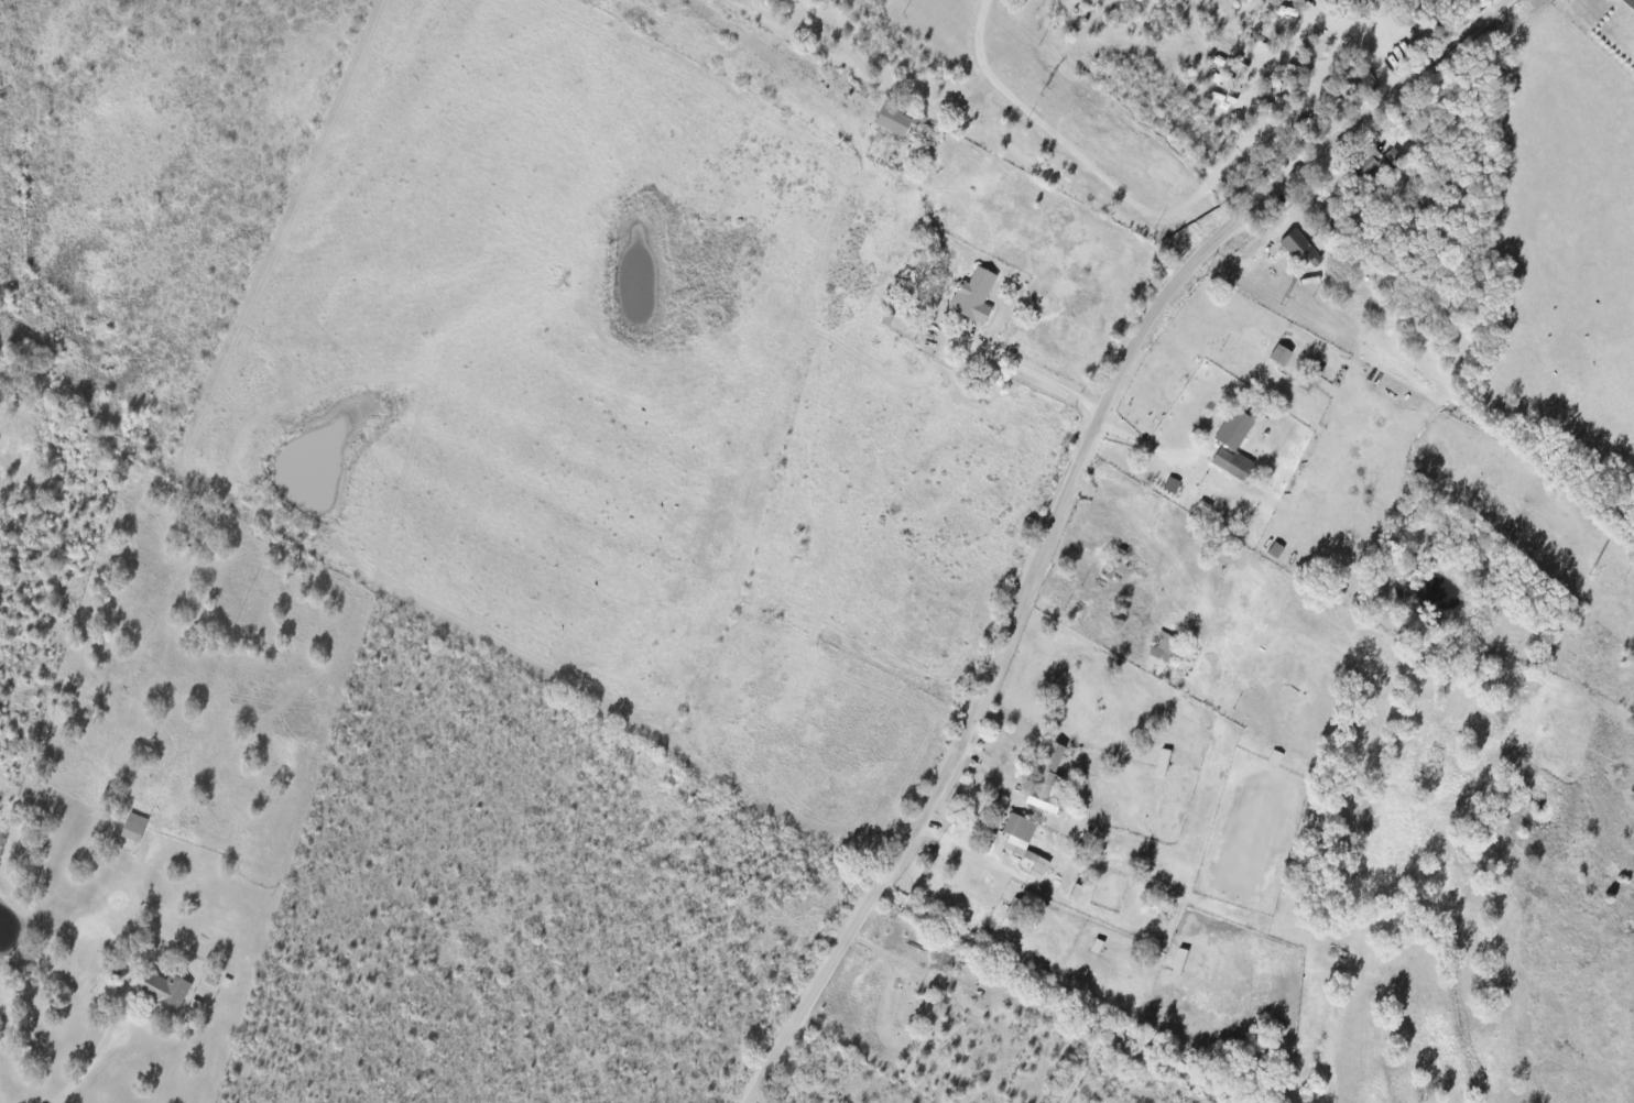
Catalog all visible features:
road: (1624, 7)
building: (1284, 12)
road: (1373, 32)
road: (1281, 50)
road: (1309, 85)
power tower: (1045, 88)
building: (893, 120)
building: (1394, 155)
building: (1368, 170)
road: (1091, 178)
building: (1300, 248)
building: (973, 295)
power tower: (1285, 297)
building: (1281, 354)
road: (1034, 375)
building: (1234, 428)
building: (1232, 462)
road: (1063, 500)
power tower: (1592, 569)
building: (1165, 646)
building: (1046, 778)
building: (133, 827)
building: (1024, 842)
road: (1037, 971)
building: (161, 989)
road: (86, 1068)

